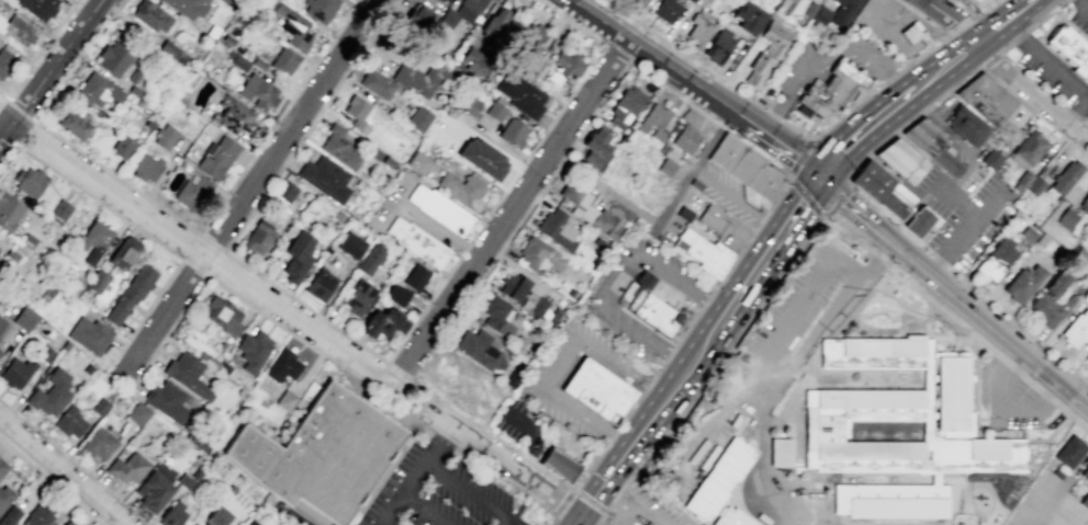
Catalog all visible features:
building: (436, 0)
building: (442, 0)
building: (231, 1)
building: (639, 1)
building: (974, 1)
building: (979, 1)
road: (1080, 1)
building: (787, 4)
road: (1085, 4)
building: (186, 7)
building: (37, 8)
building: (319, 9)
building: (468, 10)
building: (665, 10)
building: (831, 12)
road: (975, 14)
road: (1046, 14)
parking lot: (1079, 14)
building: (149, 15)
building: (748, 16)
road: (953, 19)
building: (415, 21)
building: (496, 23)
road: (961, 23)
building: (291, 26)
building: (18, 30)
building: (698, 30)
building: (212, 31)
road: (888, 31)
road: (1014, 33)
building: (913, 34)
road: (986, 35)
road: (1018, 35)
building: (227, 39)
building: (529, 39)
building: (718, 46)
road: (42, 48)
building: (168, 48)
building: (1069, 50)
building: (767, 53)
road: (617, 54)
building: (113, 58)
road: (655, 58)
road: (988, 58)
road: (78, 59)
road: (868, 59)
building: (236, 60)
building: (282, 60)
building: (5, 61)
building: (473, 62)
road: (629, 62)
building: (257, 64)
building: (564, 68)
road: (588, 68)
road: (1056, 69)
road: (49, 71)
building: (534, 71)
parking lot: (1050, 71)
parking lot: (796, 75)
building: (134, 76)
building: (420, 77)
road: (1037, 82)
building: (375, 83)
building: (832, 88)
road: (1029, 89)
building: (96, 90)
building: (134, 91)
building: (257, 91)
road: (3, 94)
building: (519, 94)
road: (789, 96)
road: (1017, 98)
road: (933, 101)
building: (989, 104)
building: (470, 106)
building: (624, 106)
road: (20, 107)
building: (494, 111)
road: (1078, 111)
building: (357, 113)
road: (8, 114)
road: (278, 115)
building: (232, 116)
building: (417, 118)
building: (653, 122)
road: (877, 122)
building: (71, 124)
building: (148, 124)
road: (311, 124)
road: (721, 126)
building: (965, 126)
building: (513, 132)
road: (801, 135)
road: (1086, 135)
building: (164, 136)
building: (685, 139)
road: (957, 139)
road: (876, 144)
building: (931, 144)
road: (16, 145)
building: (122, 146)
building: (595, 146)
road: (779, 146)
building: (339, 147)
building: (1030, 148)
road: (512, 149)
road: (563, 156)
road: (9, 157)
building: (216, 157)
building: (482, 158)
road: (524, 159)
building: (990, 159)
building: (901, 160)
building: (418, 162)
building: (744, 164)
building: (145, 167)
building: (665, 167)
traffic signals: (818, 175)
road: (117, 176)
building: (325, 178)
building: (1065, 178)
building: (1023, 179)
building: (871, 180)
building: (29, 181)
building: (1034, 185)
building: (462, 189)
road: (248, 190)
building: (284, 191)
building: (192, 193)
parking lot: (729, 193)
road: (801, 194)
road: (737, 197)
parking lot: (391, 201)
road: (395, 202)
building: (897, 202)
road: (956, 202)
road: (495, 203)
building: (1084, 203)
road: (529, 207)
building: (586, 208)
building: (59, 209)
building: (439, 209)
road: (508, 209)
road: (851, 210)
building: (9, 212)
building: (338, 216)
road: (658, 216)
building: (1066, 218)
building: (711, 220)
building: (917, 221)
road: (136, 228)
building: (557, 229)
road: (435, 230)
road: (963, 232)
building: (257, 236)
building: (93, 241)
building: (29, 242)
building: (417, 242)
building: (350, 244)
building: (702, 248)
road: (463, 250)
building: (123, 252)
road: (202, 253)
building: (11, 254)
road: (496, 255)
building: (537, 255)
building: (999, 256)
building: (295, 258)
building: (369, 259)
road: (877, 259)
building: (1085, 260)
road: (758, 261)
road: (850, 264)
road: (520, 274)
road: (206, 276)
road: (672, 276)
building: (415, 277)
building: (97, 281)
road: (618, 281)
building: (1023, 283)
building: (319, 284)
road: (968, 285)
building: (48, 292)
building: (130, 293)
building: (396, 294)
building: (520, 294)
building: (360, 297)
parking lot: (599, 300)
building: (1047, 300)
road: (704, 303)
road: (716, 305)
road: (305, 306)
road: (422, 309)
building: (649, 309)
building: (222, 315)
building: (496, 315)
building: (25, 318)
road: (929, 319)
road: (453, 320)
building: (382, 322)
road: (956, 323)
road: (788, 324)
road: (988, 326)
building: (2, 327)
building: (1076, 329)
road: (632, 332)
building: (89, 334)
road: (295, 336)
road: (811, 338)
road: (954, 338)
building: (65, 346)
building: (475, 347)
building: (253, 349)
road: (1005, 349)
building: (0, 351)
building: (45, 353)
parking lot: (771, 357)
building: (1086, 358)
road: (676, 361)
road: (559, 363)
building: (282, 365)
building: (87, 368)
road: (399, 370)
building: (15, 372)
road: (713, 373)
building: (188, 375)
building: (512, 379)
parking lot: (541, 386)
building: (596, 388)
road: (1055, 391)
building: (49, 393)
building: (285, 400)
parking lot: (1008, 400)
building: (165, 401)
road: (752, 401)
road: (433, 403)
building: (100, 407)
road: (1000, 408)
building: (137, 413)
road: (406, 413)
road: (466, 416)
parking lot: (515, 420)
building: (68, 421)
building: (947, 427)
road: (638, 436)
road: (532, 438)
building: (98, 443)
building: (1069, 450)
building: (779, 452)
building: (321, 454)
road: (526, 458)
road: (72, 461)
road: (505, 463)
building: (560, 464)
building: (2, 467)
building: (127, 467)
road: (485, 467)
building: (1084, 470)
road: (61, 471)
building: (195, 473)
road: (380, 473)
road: (384, 473)
road: (418, 476)
road: (552, 476)
building: (719, 479)
building: (184, 480)
road: (48, 483)
building: (155, 490)
parking lot: (437, 492)
road: (470, 494)
road: (618, 494)
building: (4, 495)
road: (562, 501)
road: (590, 501)
building: (1084, 501)
road: (428, 509)
parking lot: (638, 509)
building: (9, 515)
road: (624, 515)
road: (647, 515)
building: (36, 516)
building: (170, 516)
building: (216, 516)
building: (731, 517)
road: (299, 518)
road: (552, 518)
building: (69, 523)
building: (207, 523)
building: (204, 524)
parking lot: (330, 524)
building: (647, 524)
building: (649, 524)

